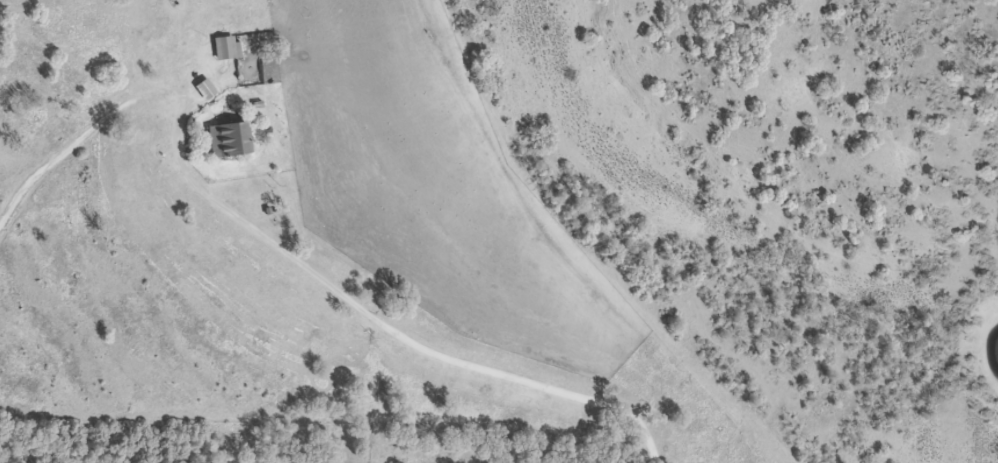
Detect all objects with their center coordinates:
building: (225, 47)
building: (203, 88)
building: (225, 138)
road: (113, 153)
road: (602, 250)
road: (390, 333)

